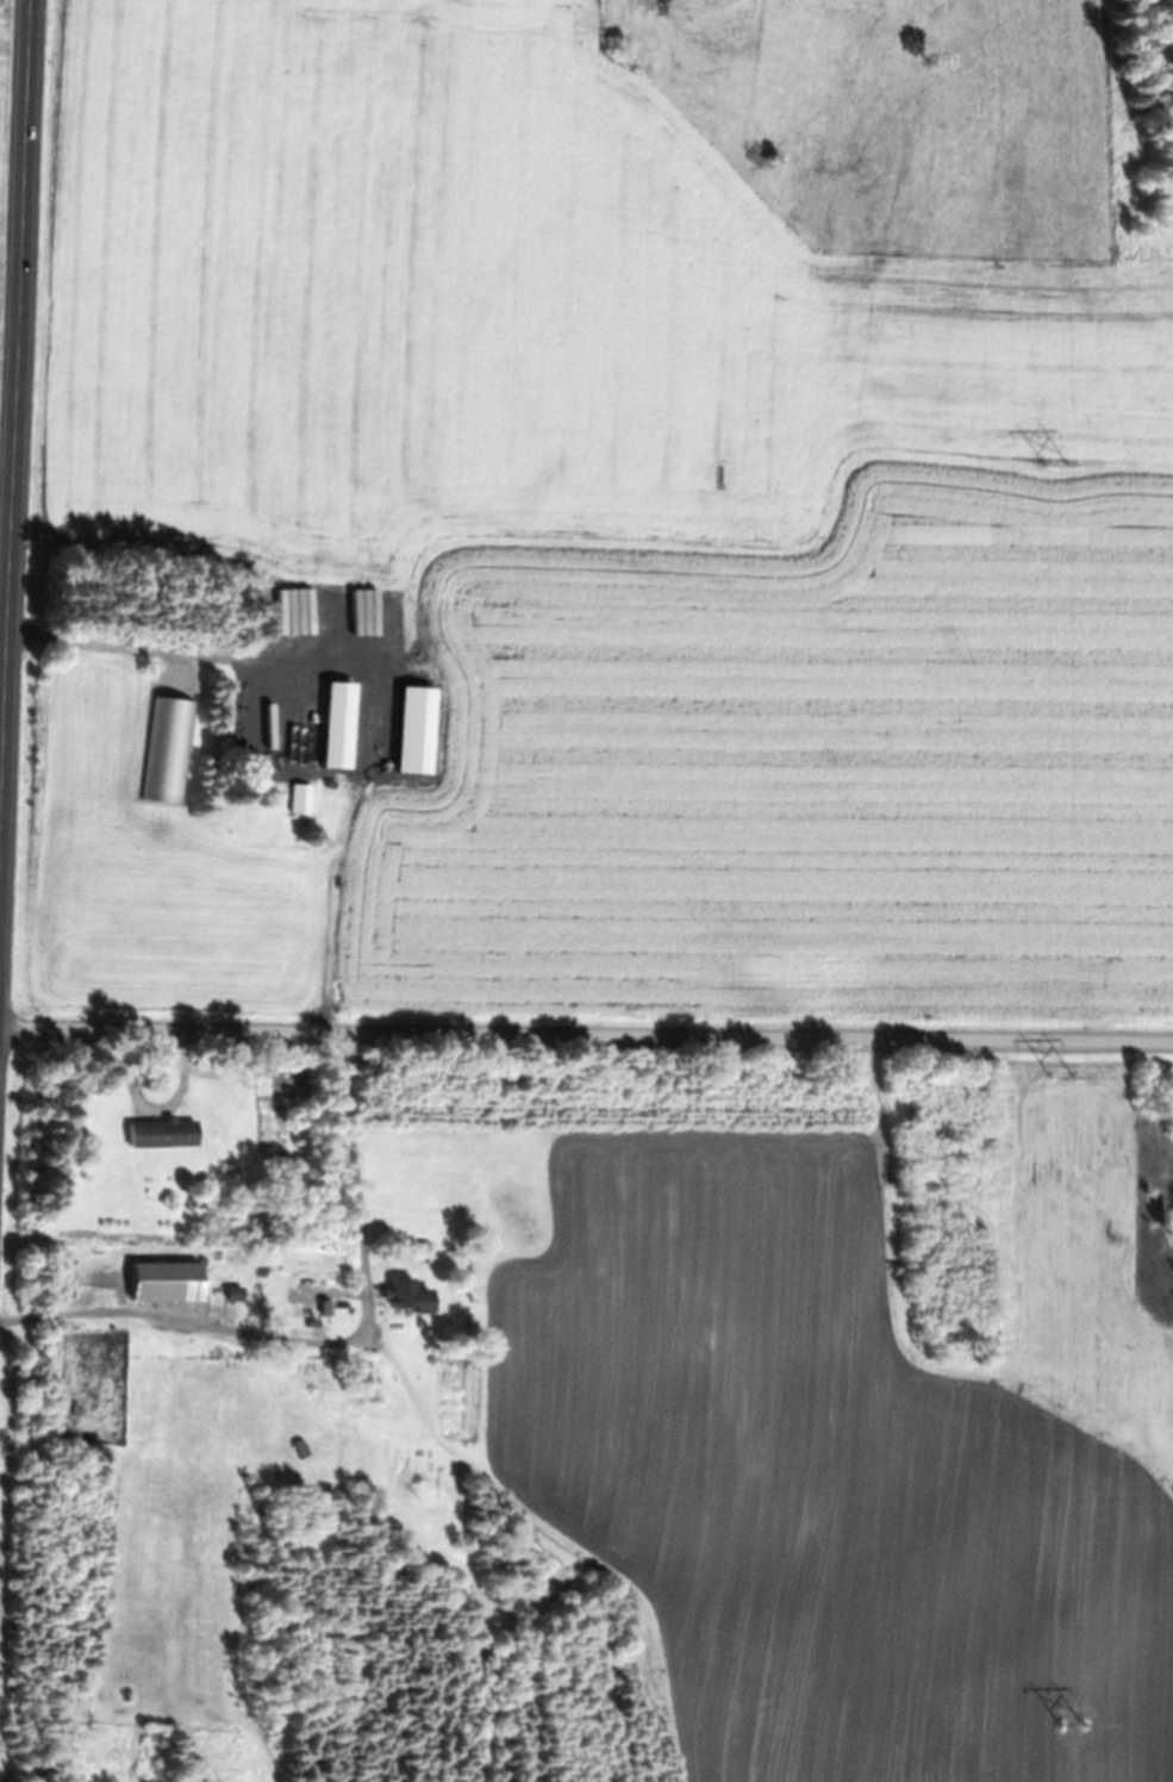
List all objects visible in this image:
road: (17, 436)
power tower: (1054, 461)
building: (335, 580)
building: (338, 698)
building: (413, 709)
building: (281, 746)
road: (586, 1030)
power tower: (1061, 1078)
building: (163, 1133)
building: (169, 1282)
building: (411, 1297)
power tower: (1071, 1726)

